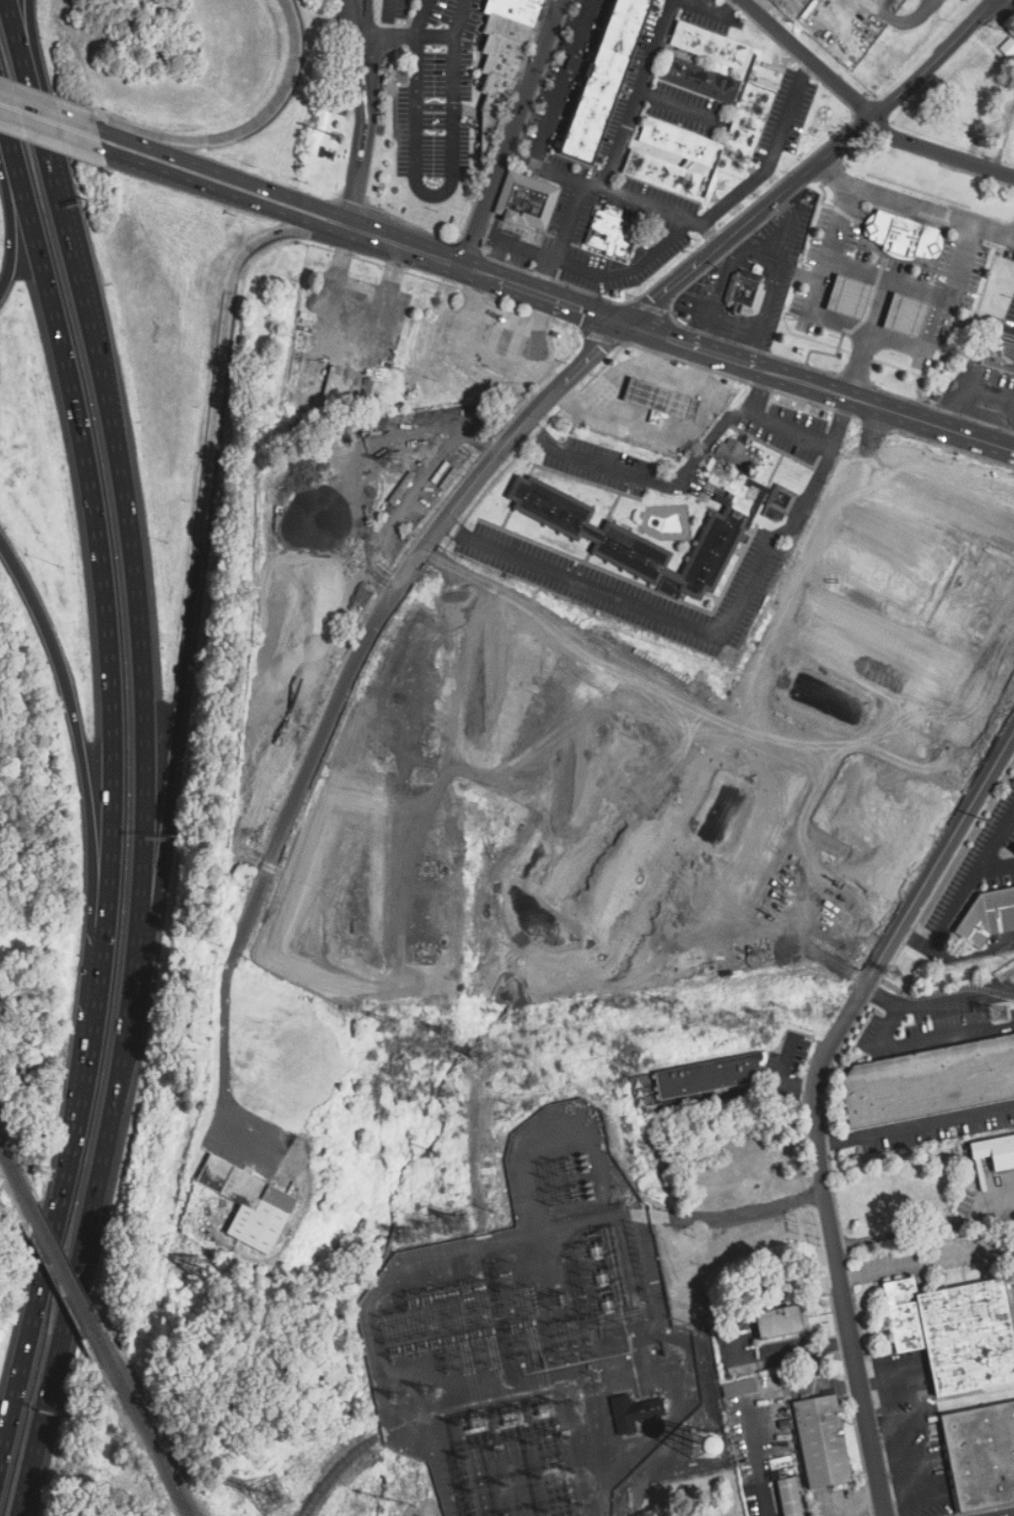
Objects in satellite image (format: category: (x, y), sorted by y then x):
road: (394, 5)
road: (362, 8)
road: (713, 11)
road: (11, 12)
road: (18, 12)
road: (362, 16)
road: (423, 18)
road: (463, 18)
road: (569, 22)
road: (904, 27)
road: (410, 36)
building: (1008, 47)
building: (504, 54)
road: (807, 58)
street lamp: (162, 59)
road: (562, 80)
building: (605, 80)
road: (543, 94)
road: (637, 94)
building: (743, 99)
road: (35, 103)
road: (677, 105)
road: (357, 107)
road: (372, 109)
road: (83, 118)
road: (84, 122)
road: (244, 132)
road: (511, 134)
road: (52, 135)
road: (1004, 142)
road: (940, 154)
road: (543, 166)
road: (766, 168)
road: (11, 170)
building: (664, 174)
road: (585, 183)
road: (211, 191)
road: (282, 194)
road: (435, 194)
road: (353, 198)
building: (528, 200)
road: (914, 205)
road: (785, 228)
road: (66, 231)
building: (613, 233)
building: (904, 235)
road: (754, 249)
road: (390, 252)
road: (14, 255)
road: (798, 270)
road: (601, 272)
road: (856, 275)
road: (883, 280)
building: (745, 292)
road: (713, 293)
road: (913, 294)
road: (544, 296)
building: (849, 296)
road: (849, 296)
road: (879, 306)
building: (905, 314)
road: (906, 315)
road: (843, 316)
road: (761, 318)
traffic signals: (626, 325)
road: (869, 330)
road: (900, 337)
road: (686, 345)
road: (753, 345)
road: (651, 351)
building: (999, 357)
road: (860, 365)
road: (632, 368)
road: (756, 369)
road: (965, 384)
road: (807, 385)
road: (758, 392)
building: (661, 398)
road: (736, 415)
road: (531, 417)
road: (931, 425)
road: (672, 435)
road: (591, 462)
building: (566, 523)
building: (969, 535)
street lamp: (56, 563)
road: (707, 632)
road: (187, 658)
road: (692, 686)
road: (733, 695)
road: (146, 789)
road: (91, 816)
road: (111, 839)
road: (972, 878)
building: (987, 915)
road: (914, 938)
road: (903, 944)
road: (973, 954)
road: (834, 962)
power tower: (897, 976)
road: (894, 987)
road: (960, 988)
road: (936, 999)
power tower: (671, 1005)
power tower: (1000, 1015)
parking lot: (938, 1016)
power tower: (770, 1019)
power tower: (392, 1020)
power tower: (445, 1034)
road: (224, 1038)
road: (923, 1040)
power tower: (481, 1056)
building: (709, 1076)
building: (929, 1081)
road: (815, 1099)
road: (915, 1123)
building: (994, 1150)
railway: (12, 1164)
building: (252, 1204)
power tower: (462, 1221)
power tower: (433, 1227)
power tower: (414, 1236)
road: (917, 1265)
railway: (67, 1273)
building: (781, 1321)
road: (65, 1328)
building: (953, 1332)
power substation: (543, 1345)
road: (893, 1376)
building: (740, 1387)
power tower: (430, 1392)
power tower: (398, 1398)
building: (634, 1412)
railway: (421, 1417)
railway: (151, 1437)
road: (916, 1437)
building: (823, 1442)
building: (705, 1445)
water tower: (705, 1445)
building: (980, 1455)
road: (759, 1464)
power tower: (272, 1497)
building: (790, 1497)
road: (1009, 1514)

